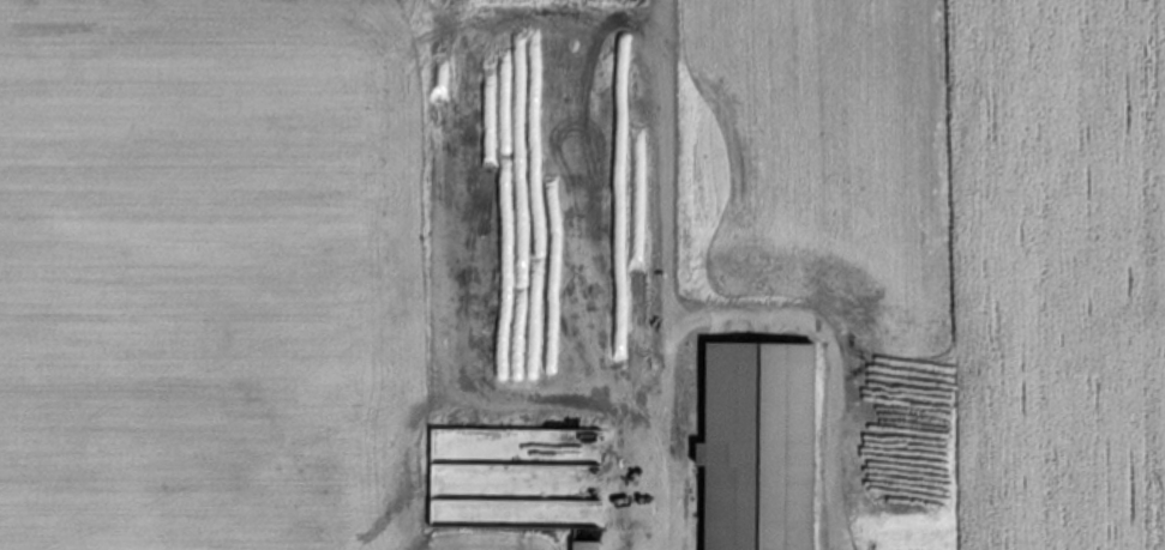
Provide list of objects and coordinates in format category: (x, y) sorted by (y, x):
building: (758, 447)
building: (587, 546)

